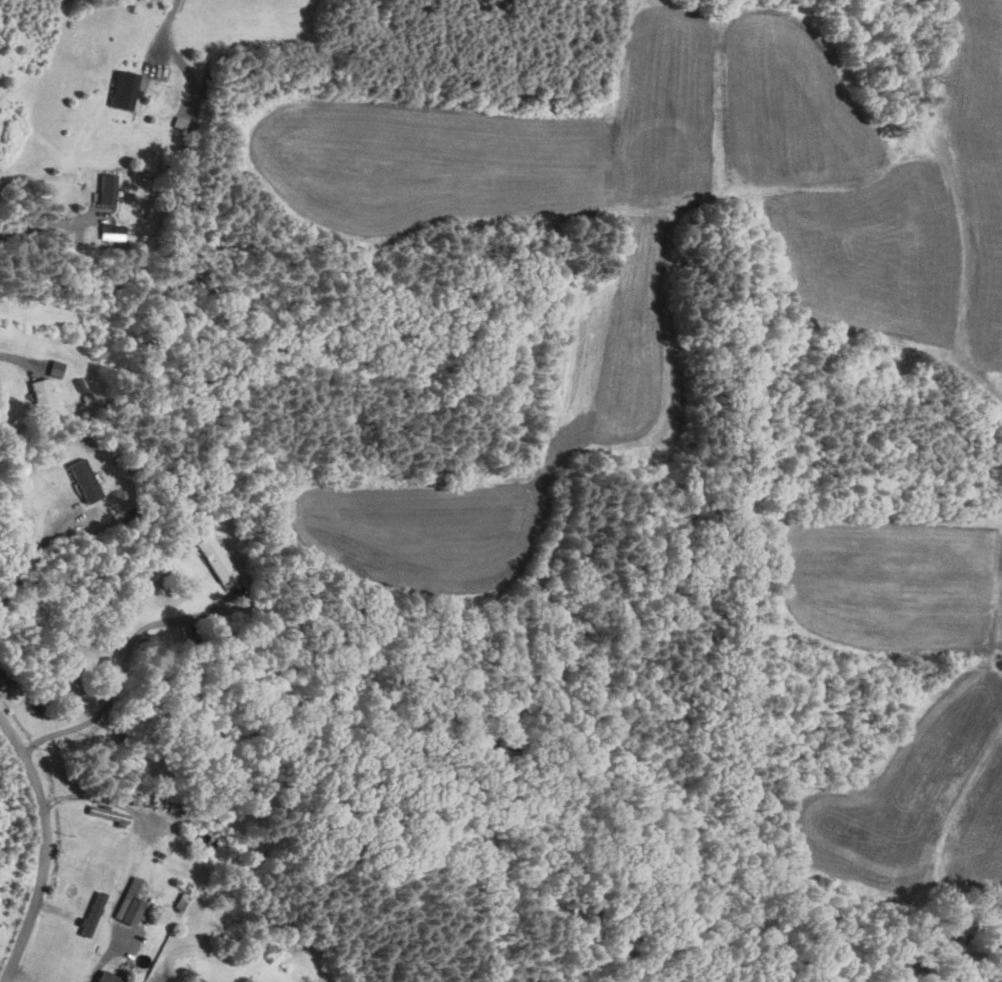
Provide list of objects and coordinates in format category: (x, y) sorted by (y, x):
road: (162, 34)
building: (123, 89)
building: (106, 188)
building: (113, 232)
building: (55, 368)
building: (41, 393)
building: (83, 480)
building: (214, 557)
building: (107, 812)
road: (38, 849)
building: (131, 904)
building: (91, 913)
building: (109, 977)
road: (1000, 977)

